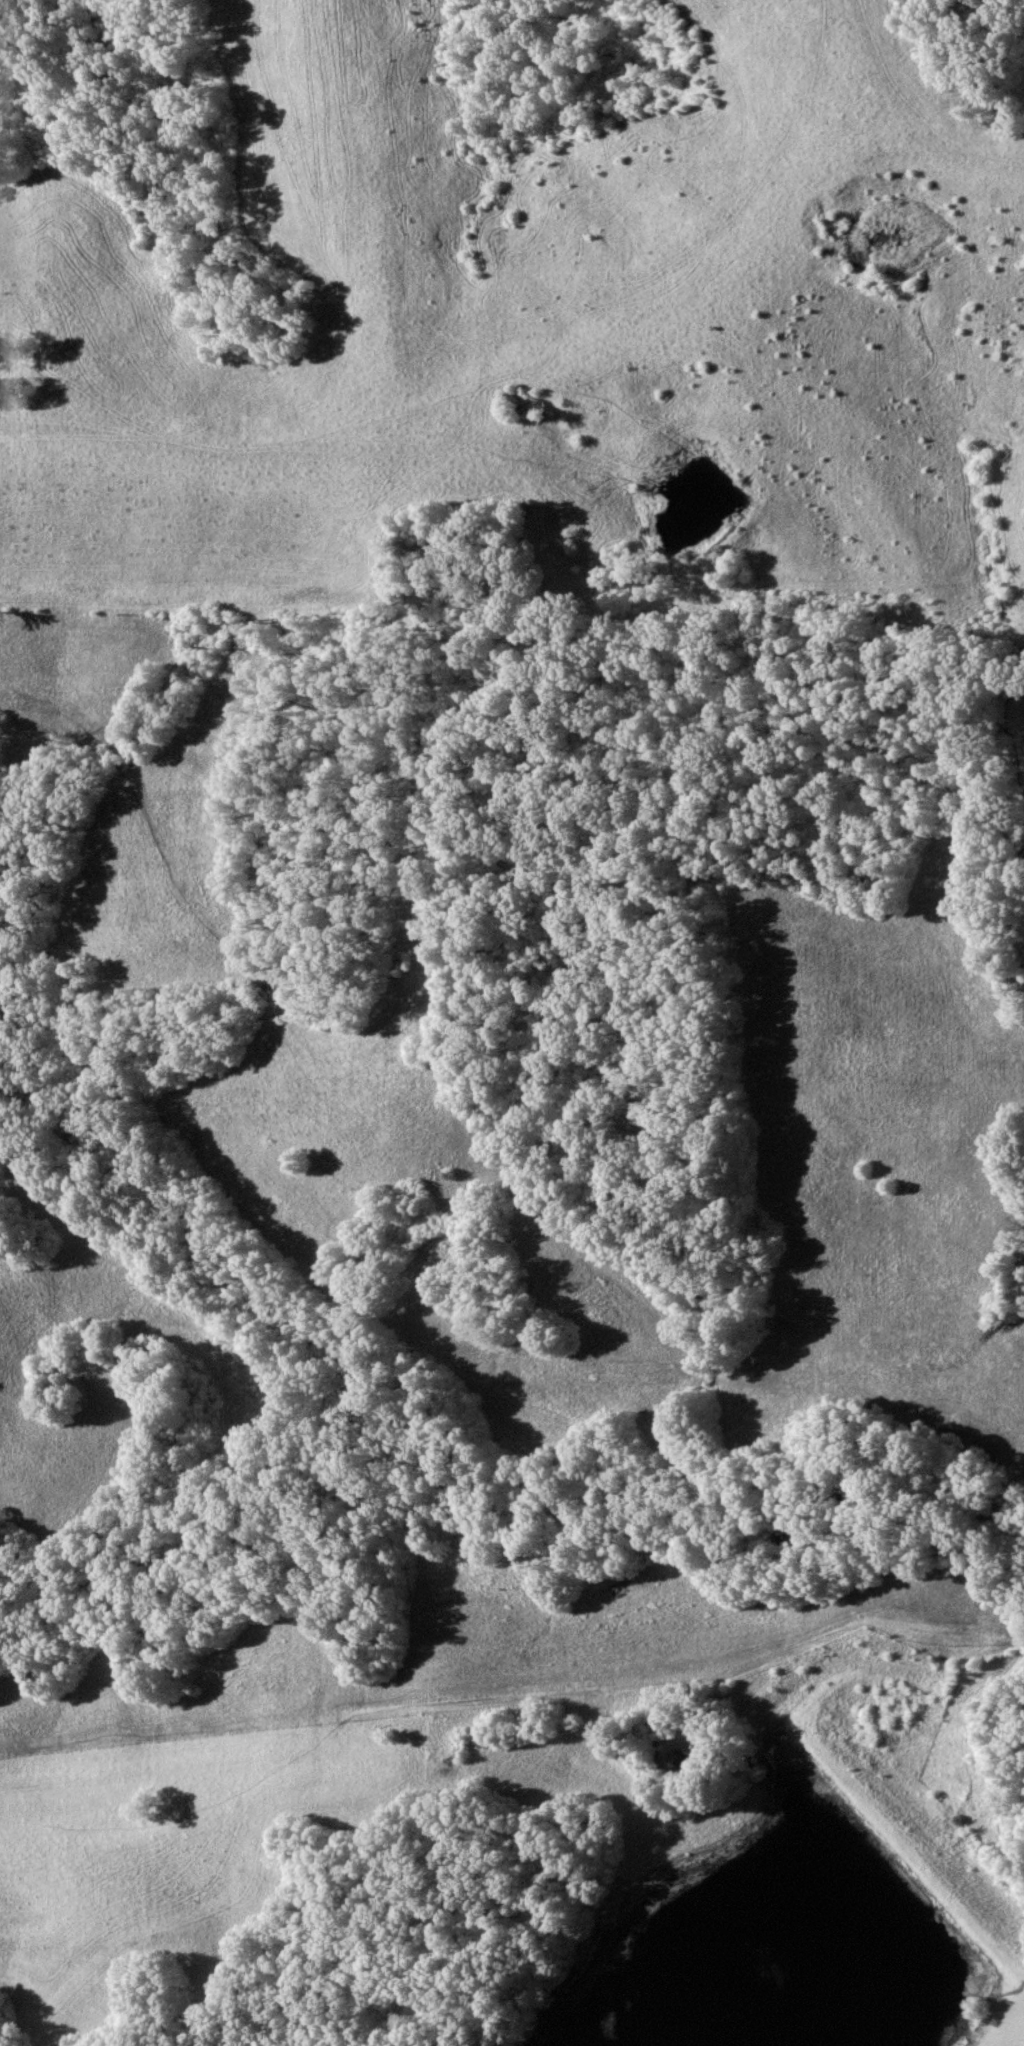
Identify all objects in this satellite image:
park: (449, 561)

